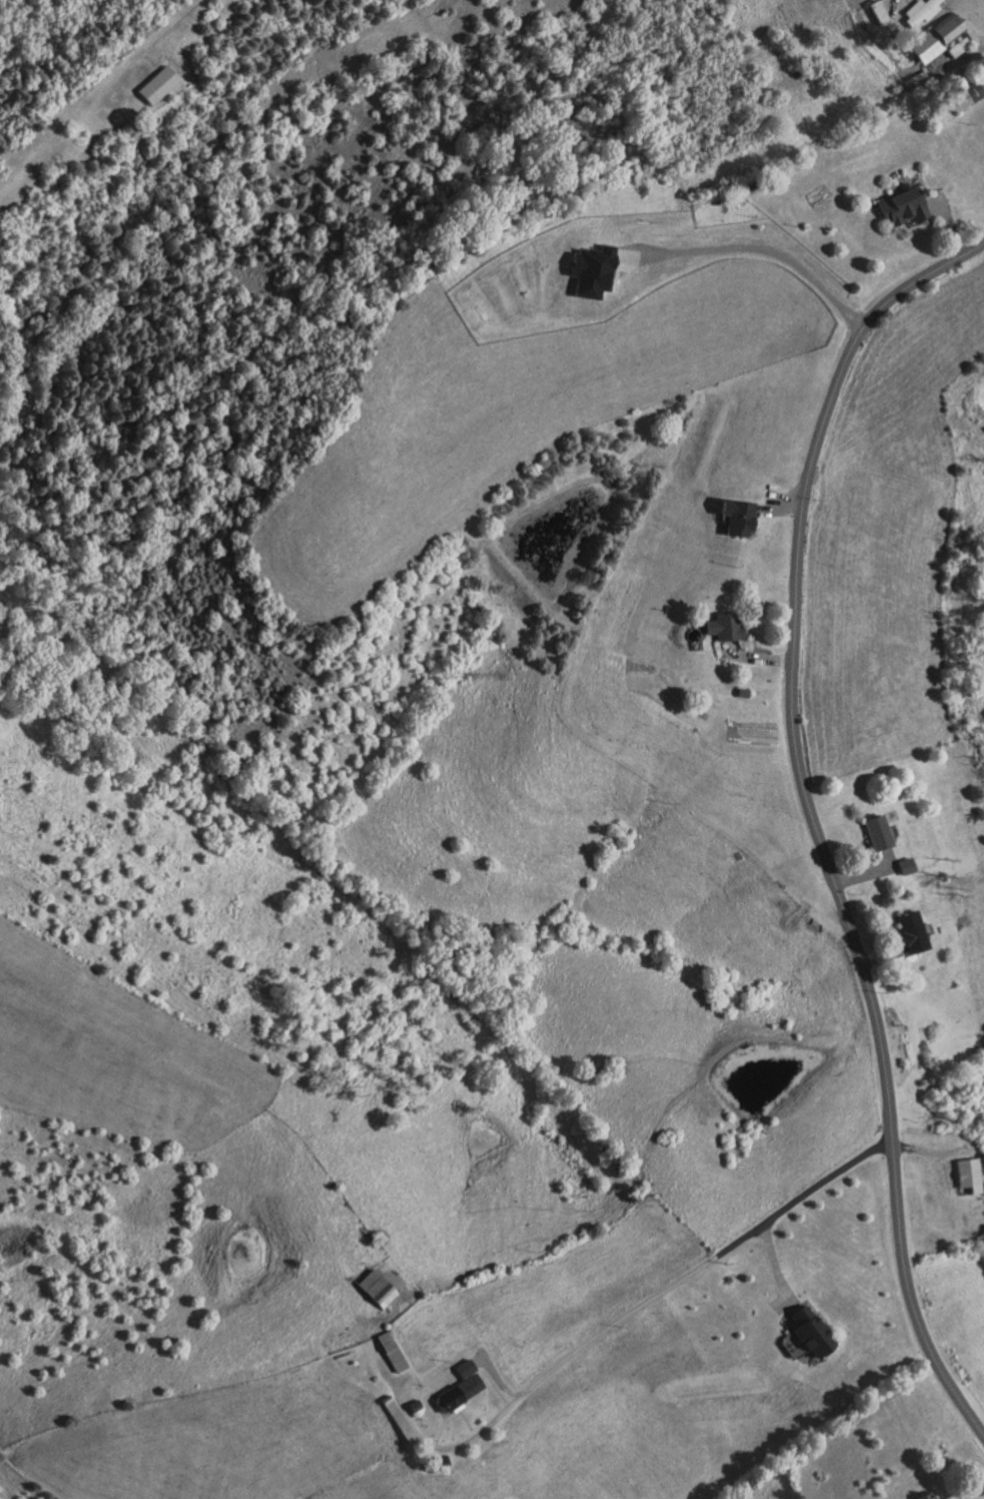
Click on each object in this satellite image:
road: (891, 4)
building: (920, 11)
building: (877, 12)
road: (157, 32)
building: (939, 38)
road: (973, 53)
building: (919, 84)
building: (158, 85)
road: (982, 87)
building: (964, 96)
building: (901, 207)
road: (945, 223)
road: (752, 247)
building: (593, 270)
road: (777, 503)
building: (735, 517)
building: (722, 627)
road: (755, 656)
road: (811, 814)
building: (874, 831)
road: (886, 857)
building: (902, 865)
building: (908, 866)
road: (865, 873)
building: (908, 931)
road: (883, 957)
road: (946, 1170)
building: (965, 1175)
building: (983, 1227)
road: (774, 1267)
building: (373, 1289)
road: (648, 1299)
road: (783, 1304)
building: (807, 1332)
building: (388, 1352)
building: (455, 1393)
building: (414, 1406)
building: (394, 1418)
building: (435, 1463)
building: (923, 1495)
building: (930, 1496)

